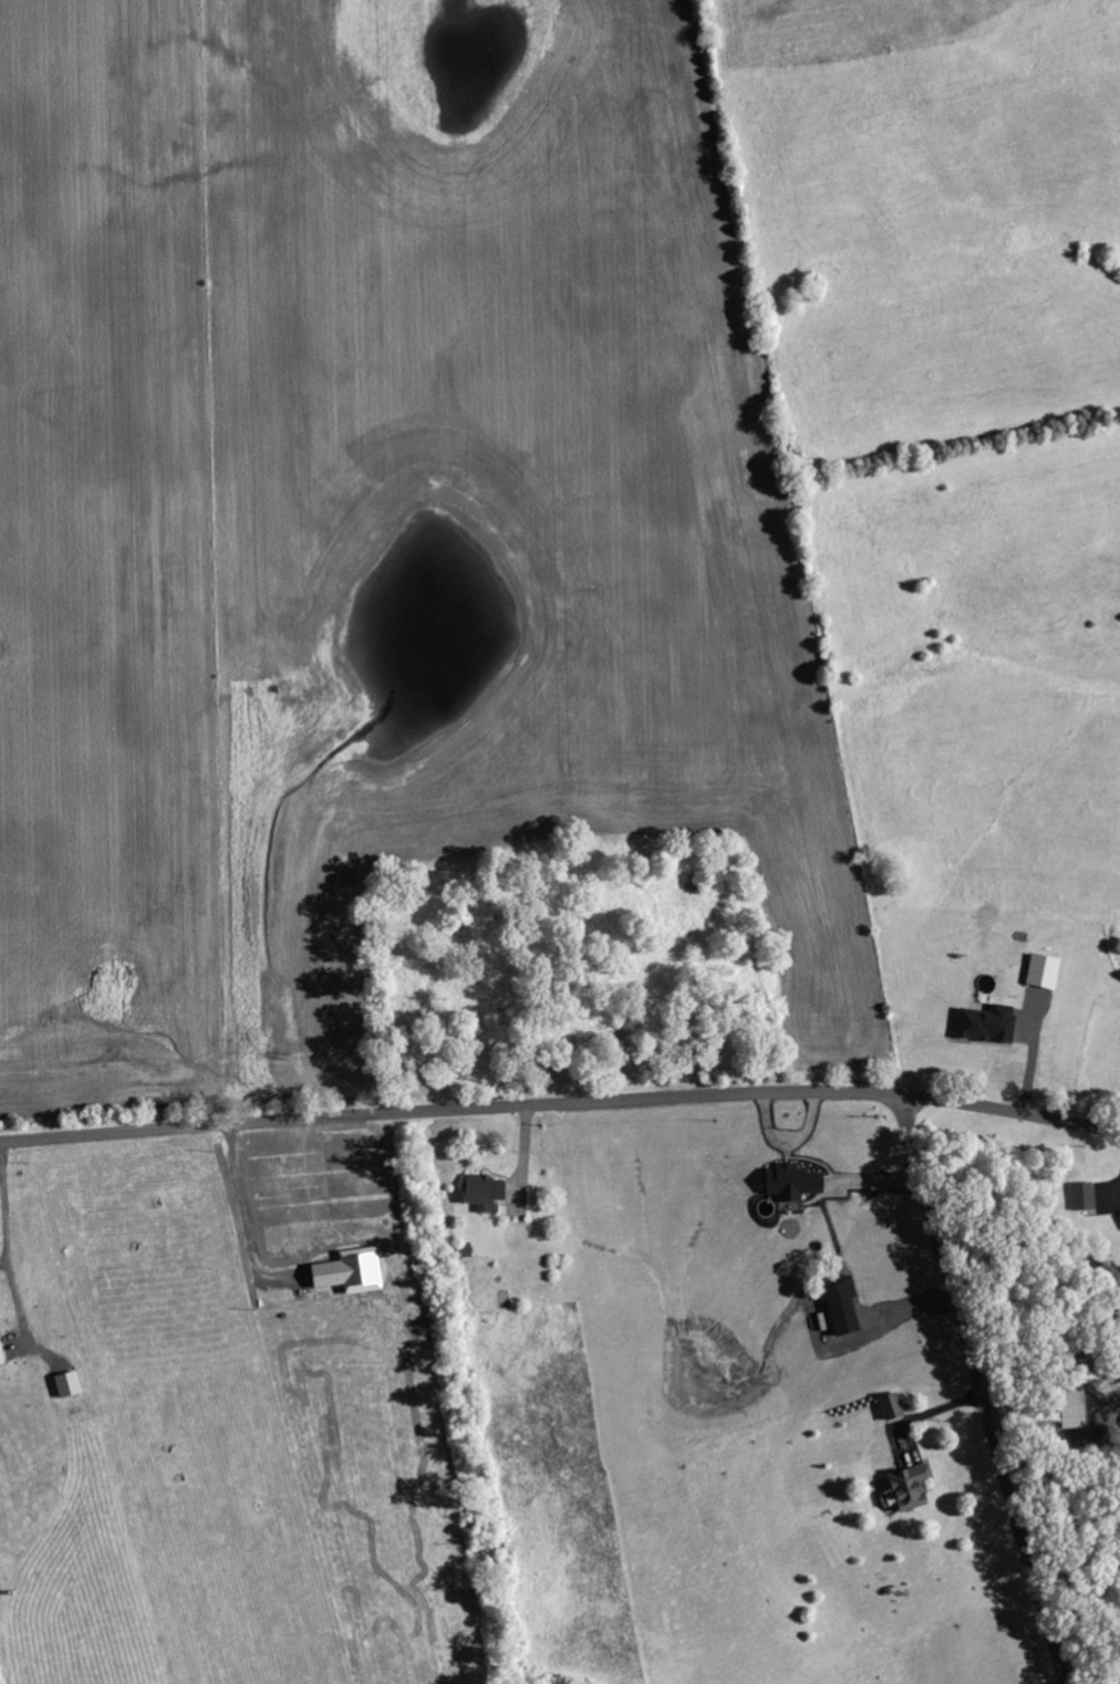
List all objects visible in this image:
building: (1046, 970)
building: (989, 1023)
road: (561, 1109)
building: (487, 1193)
building: (1085, 1196)
building: (353, 1271)
building: (844, 1307)
building: (2, 1349)
building: (71, 1384)
road: (981, 1392)
building: (894, 1406)
building: (1076, 1416)
building: (910, 1489)

